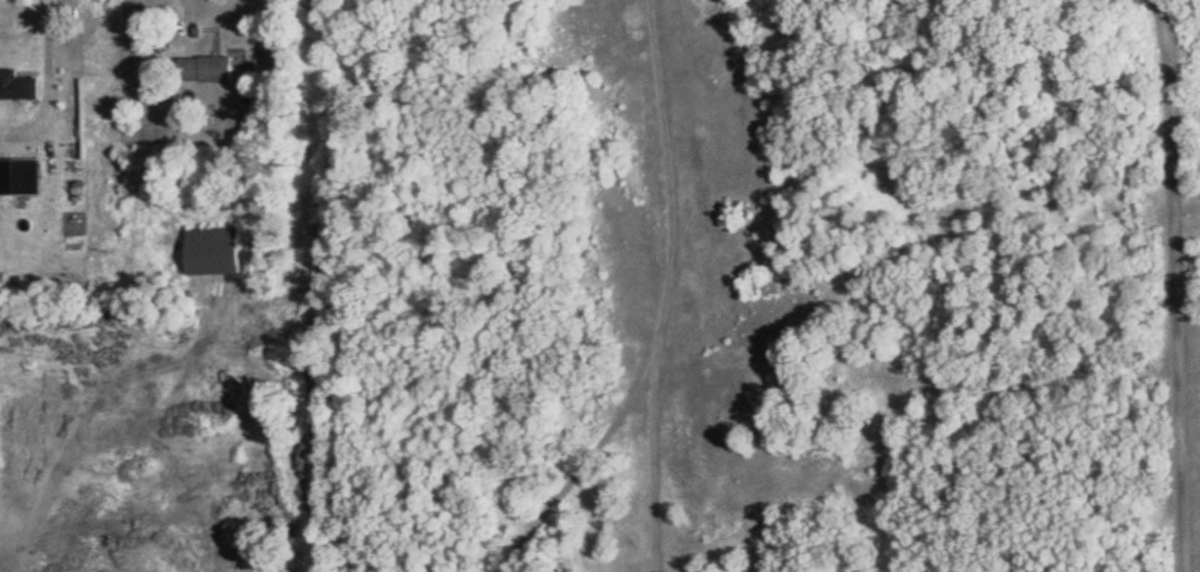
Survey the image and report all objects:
road: (52, 66)
building: (208, 69)
building: (19, 84)
building: (7, 176)
road: (1183, 285)

